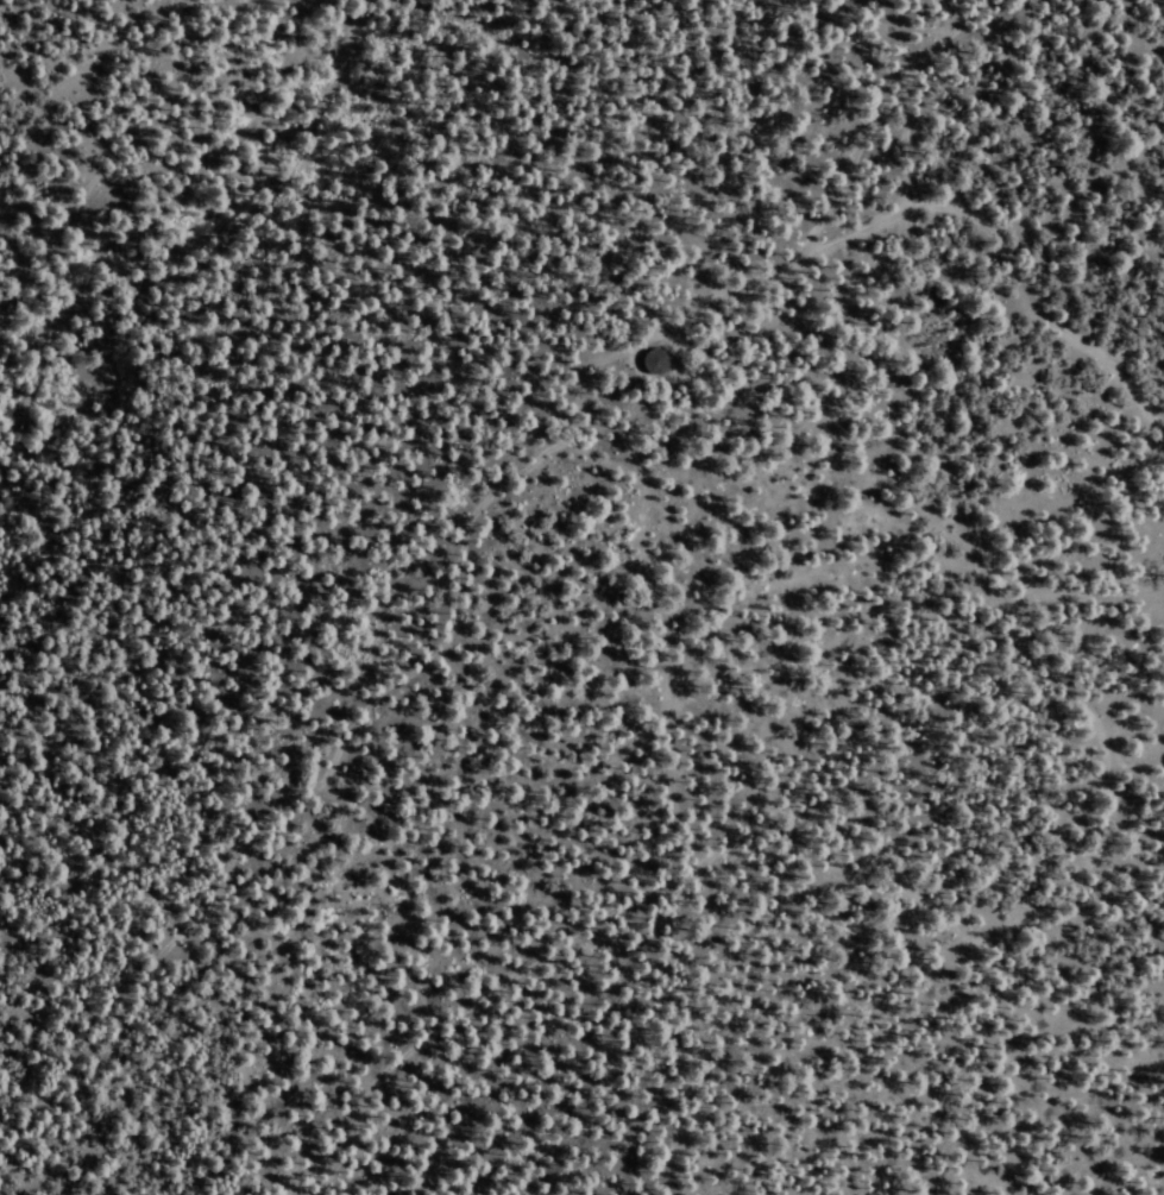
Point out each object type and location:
building: (650, 360)
storage tank: (650, 360)
road: (866, 938)

